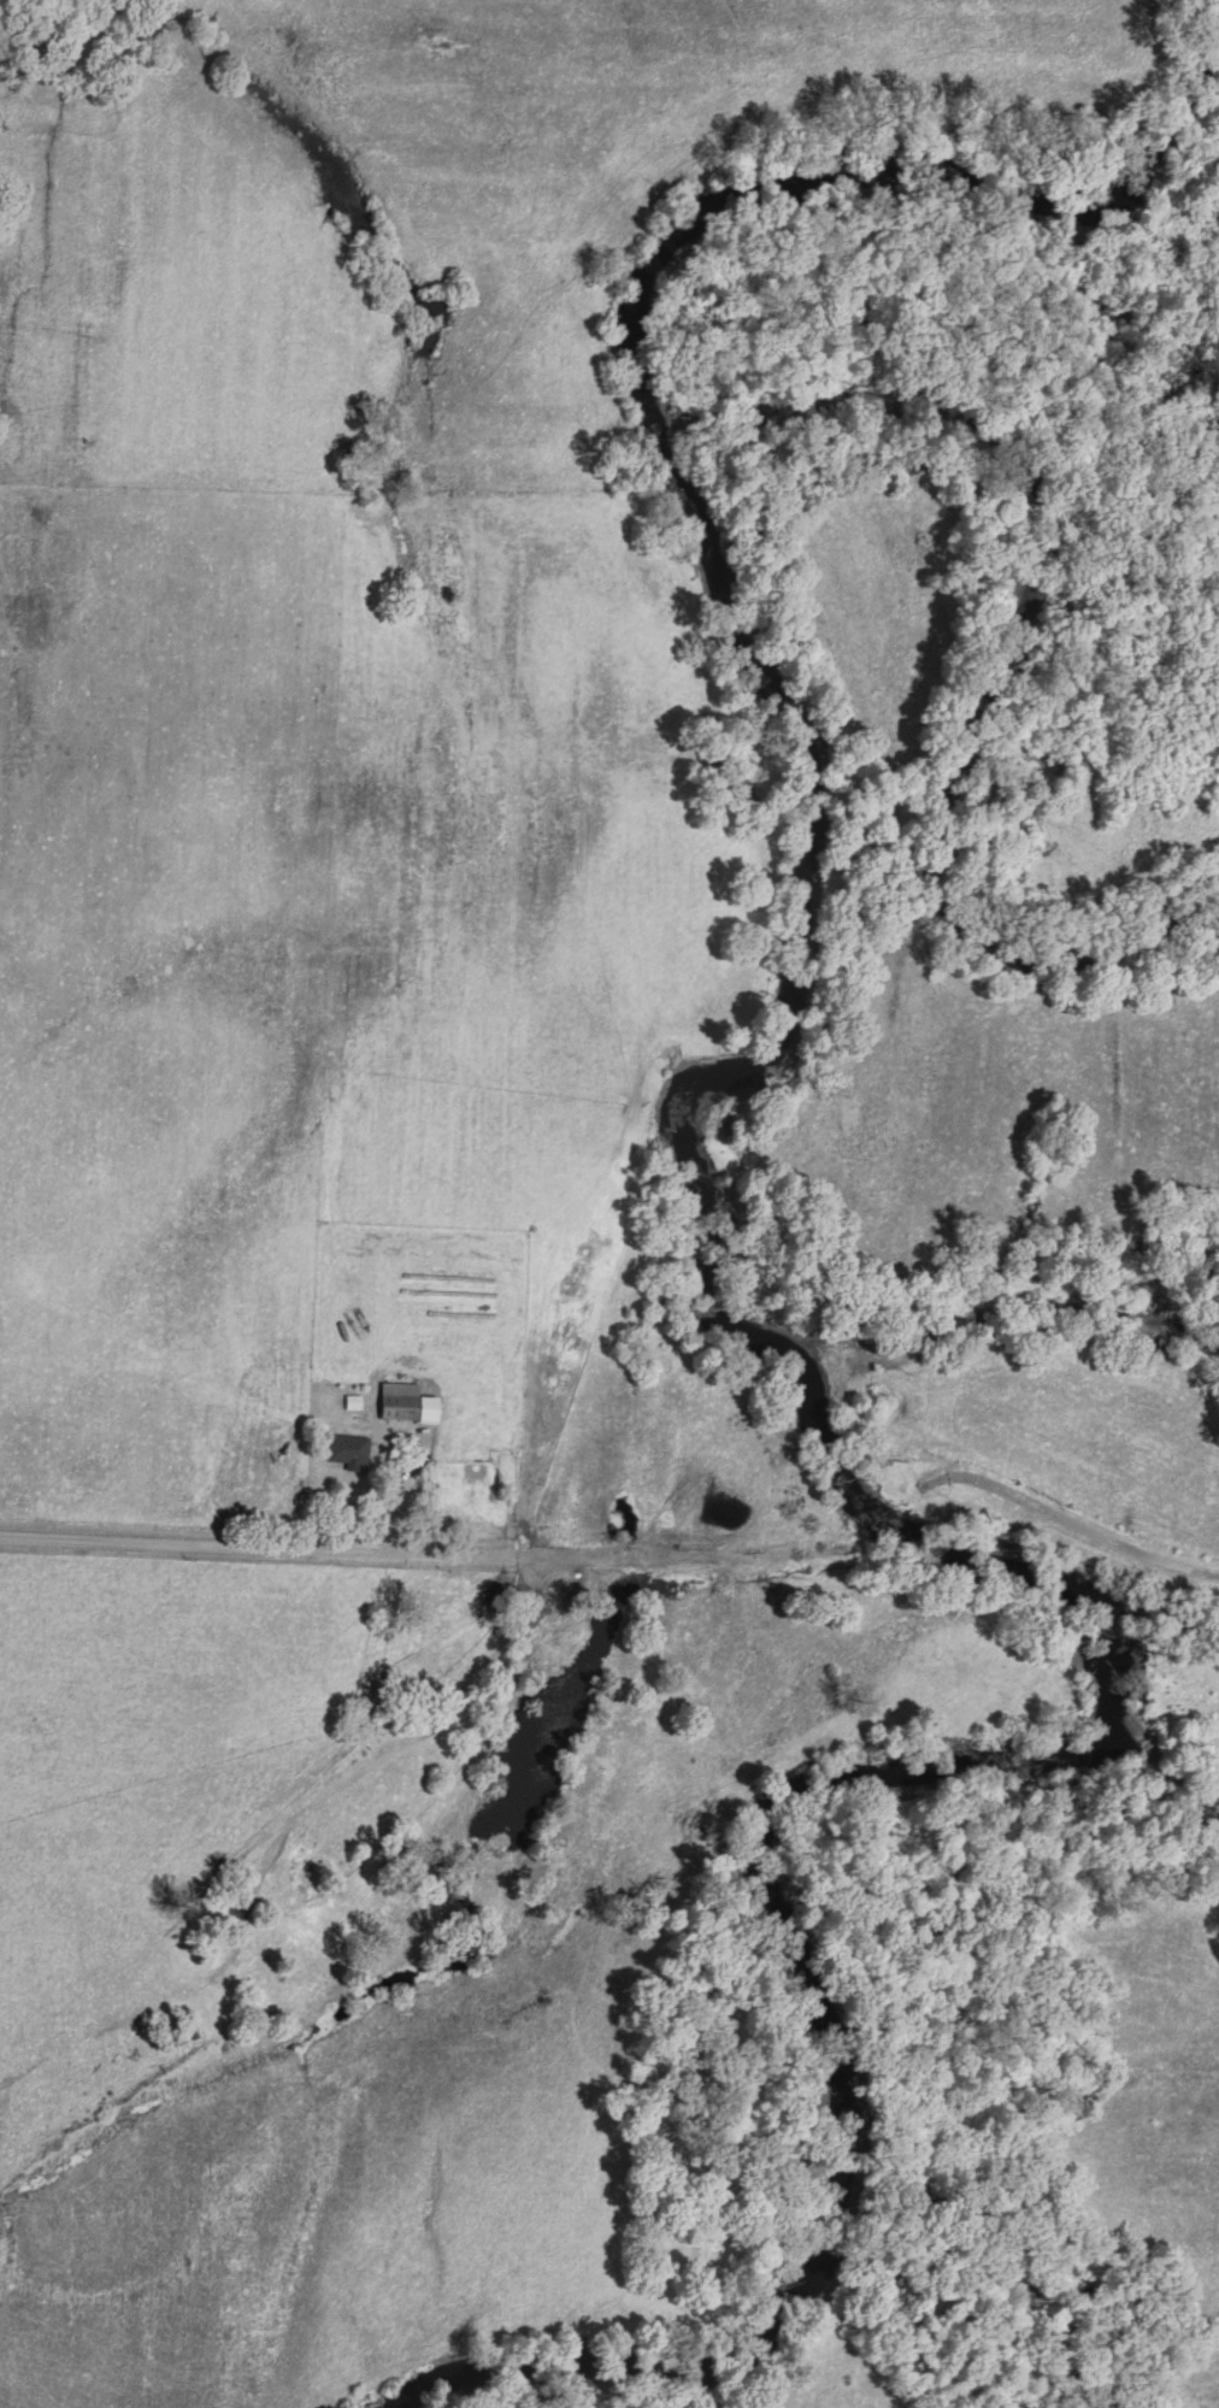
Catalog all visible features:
building: (357, 1399)
building: (410, 1400)
building: (349, 1446)
road: (414, 1483)
road: (890, 1513)
road: (1068, 1524)
road: (432, 1555)

